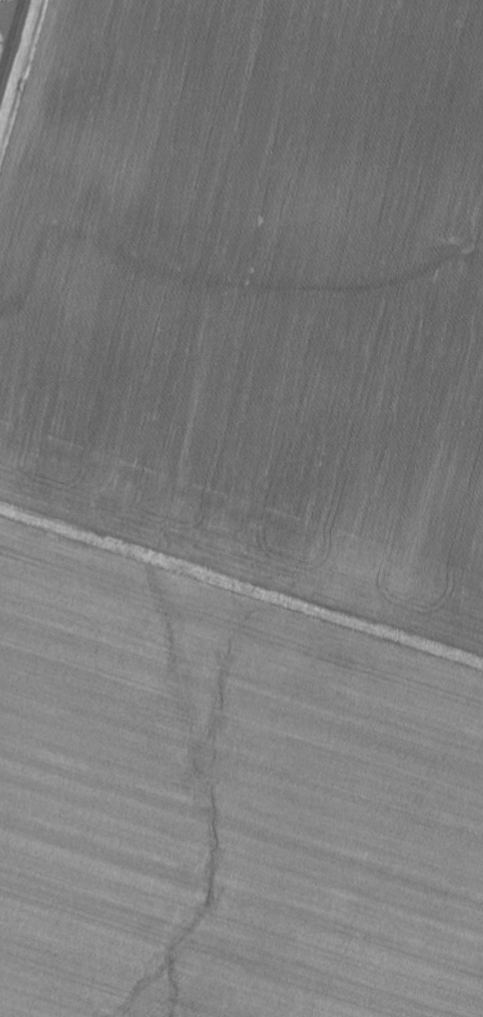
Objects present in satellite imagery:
road: (12, 44)
road: (248, 511)

